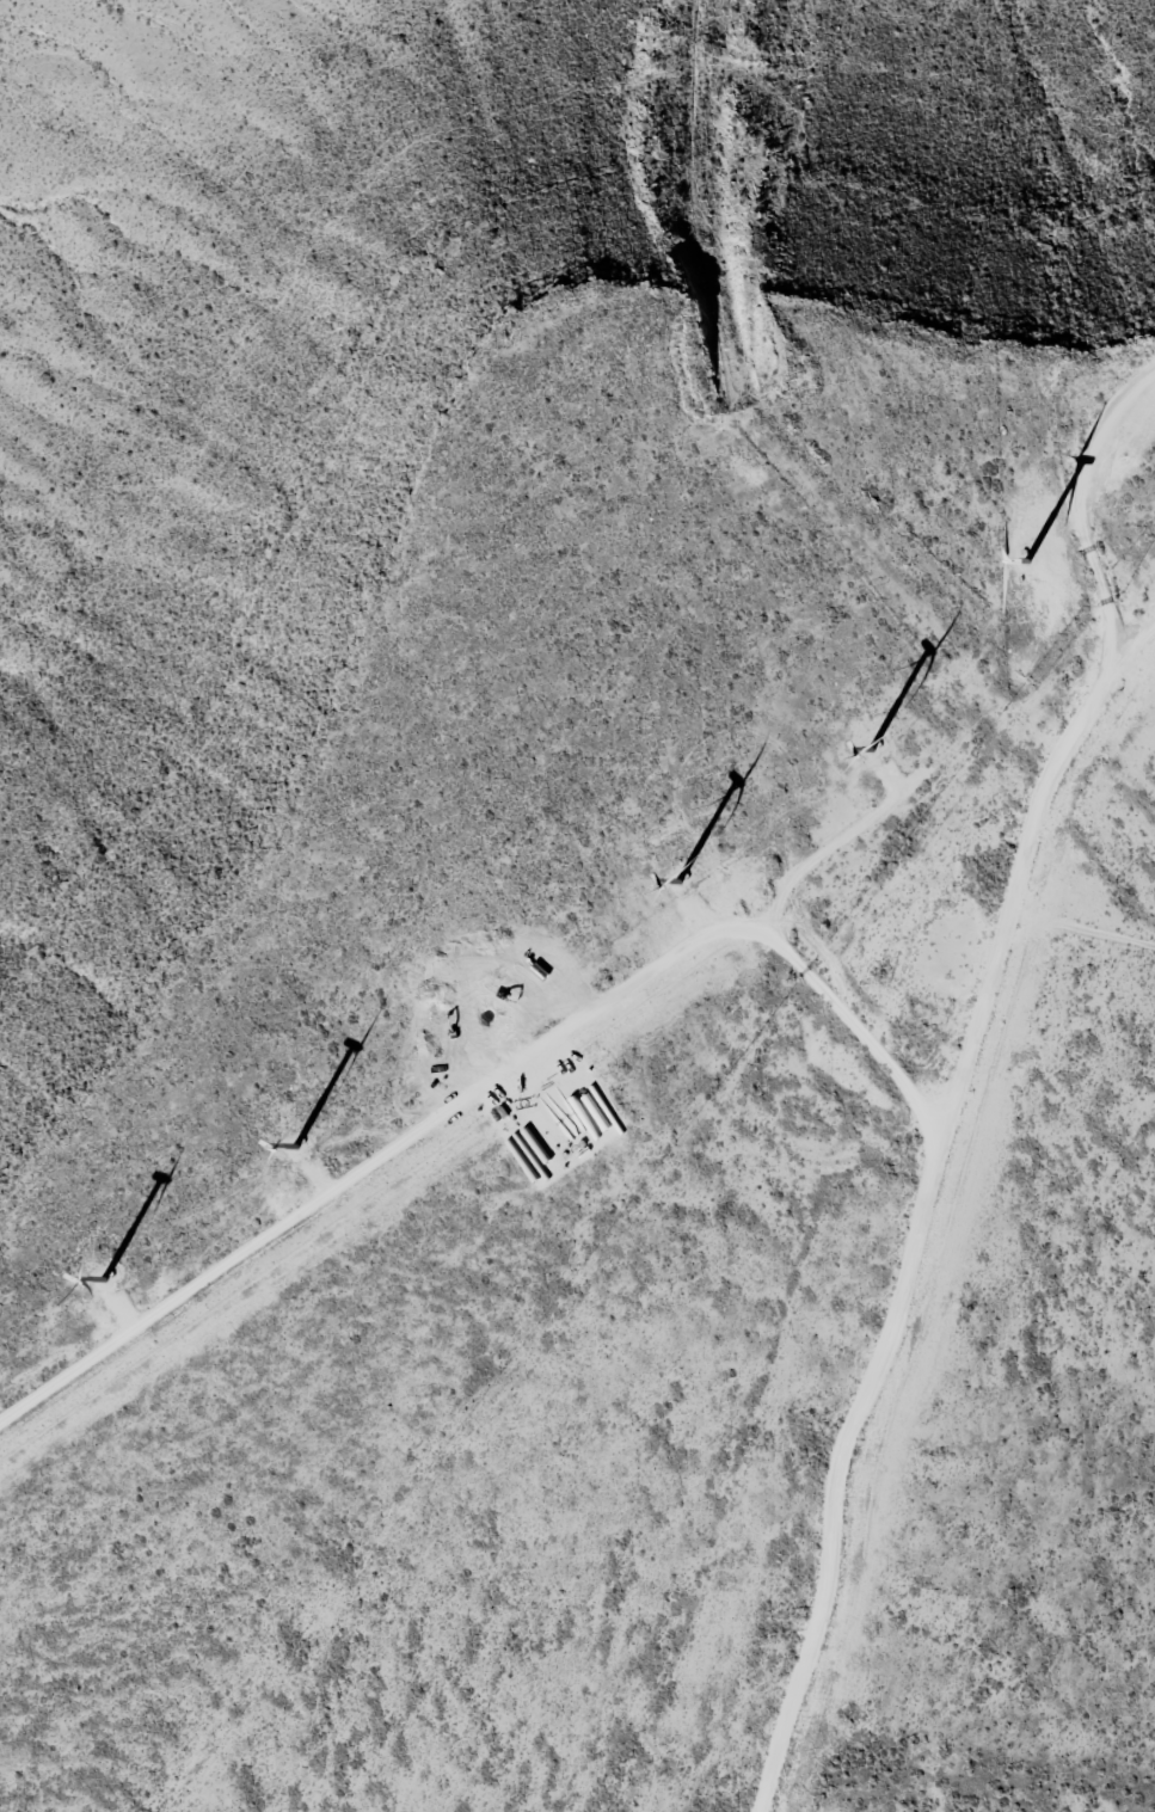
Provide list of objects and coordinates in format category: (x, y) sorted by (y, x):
wind turbine: (1007, 560)
wind turbine: (870, 741)
wind turbine: (670, 873)
road: (1092, 930)
wind turbine: (491, 1015)
road: (964, 1106)
wind turbine: (293, 1150)
wind turbine: (106, 1274)

